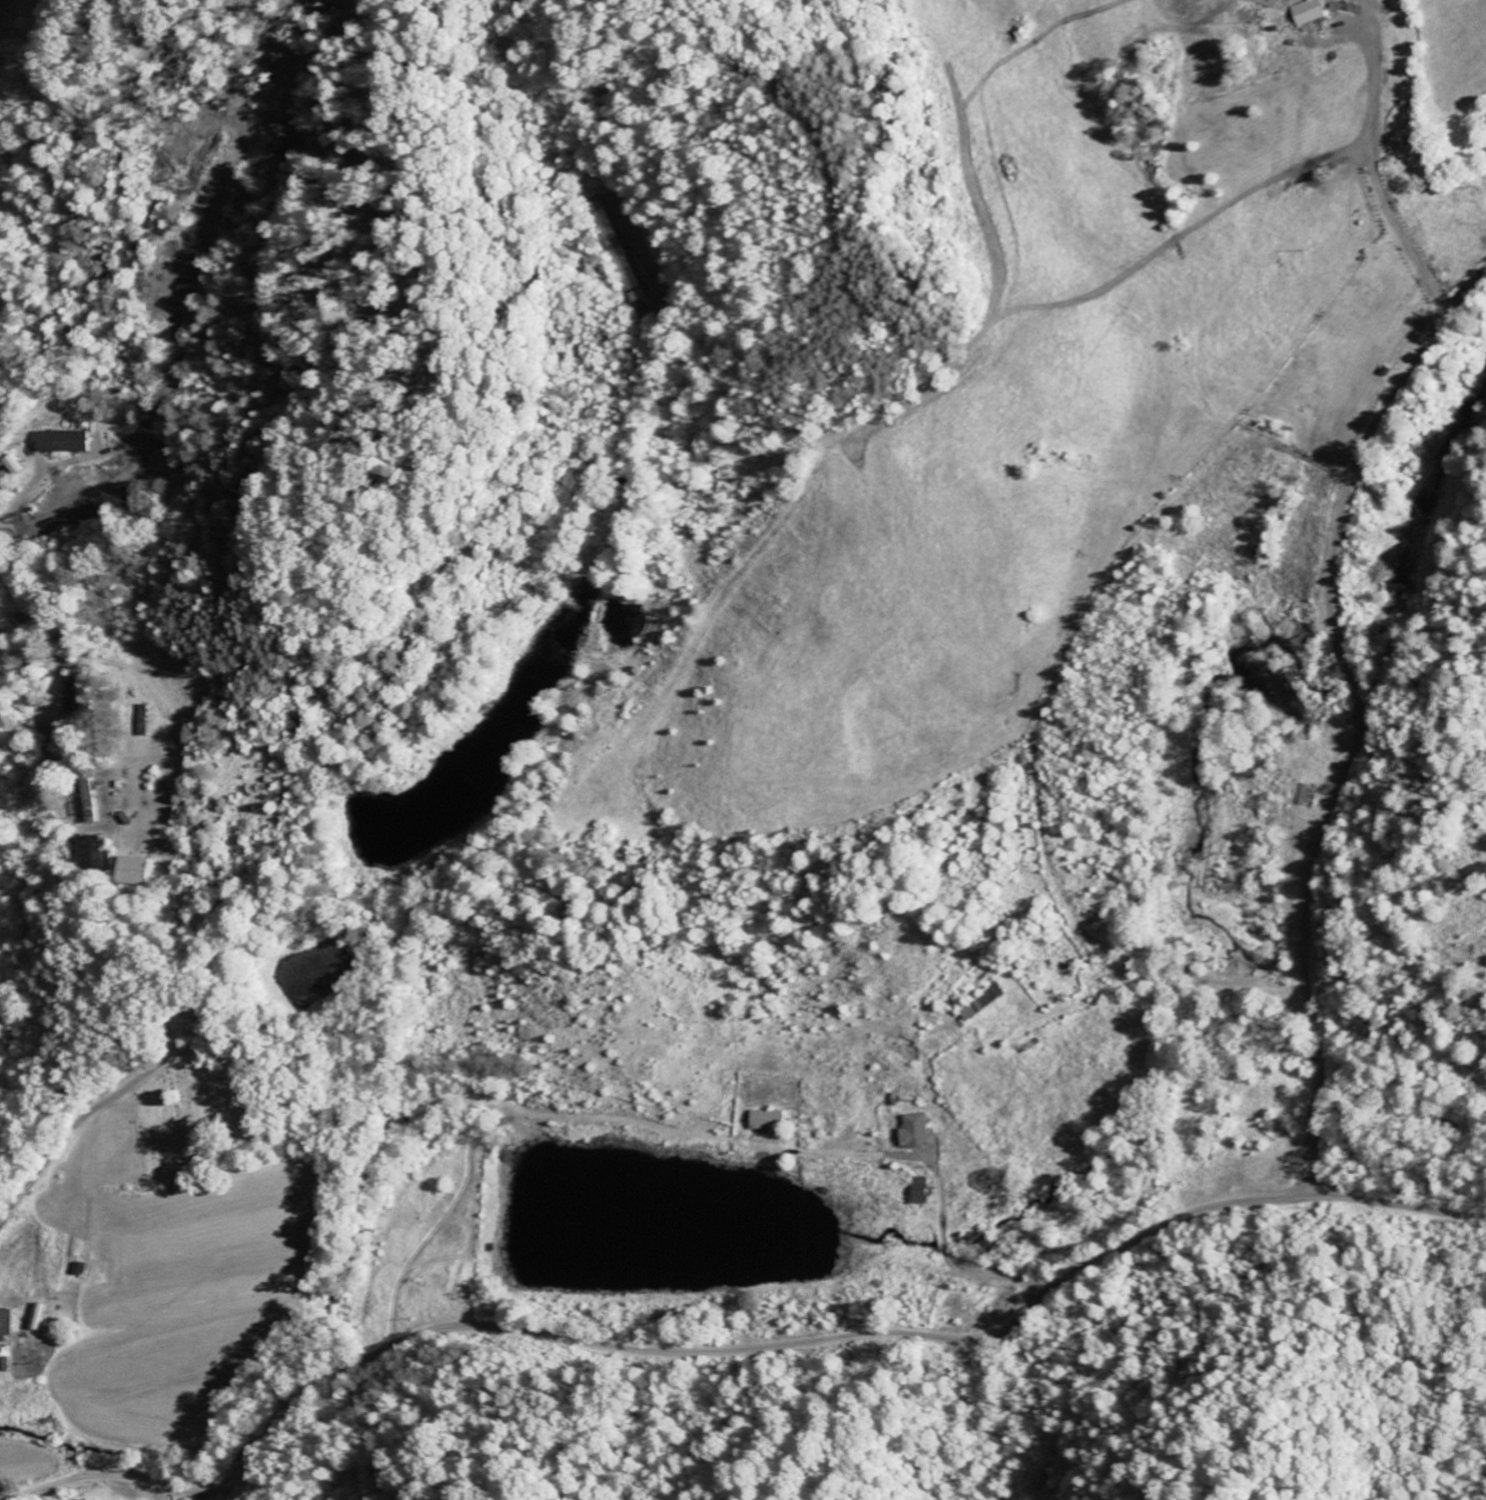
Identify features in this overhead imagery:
building: (1306, 11)
building: (66, 441)
building: (16, 465)
building: (87, 811)
building: (89, 852)
building: (135, 869)
park: (199, 1099)
building: (765, 1119)
road: (83, 1120)
building: (917, 1130)
building: (919, 1190)
building: (6, 1325)
road: (518, 1329)
building: (3, 1363)

